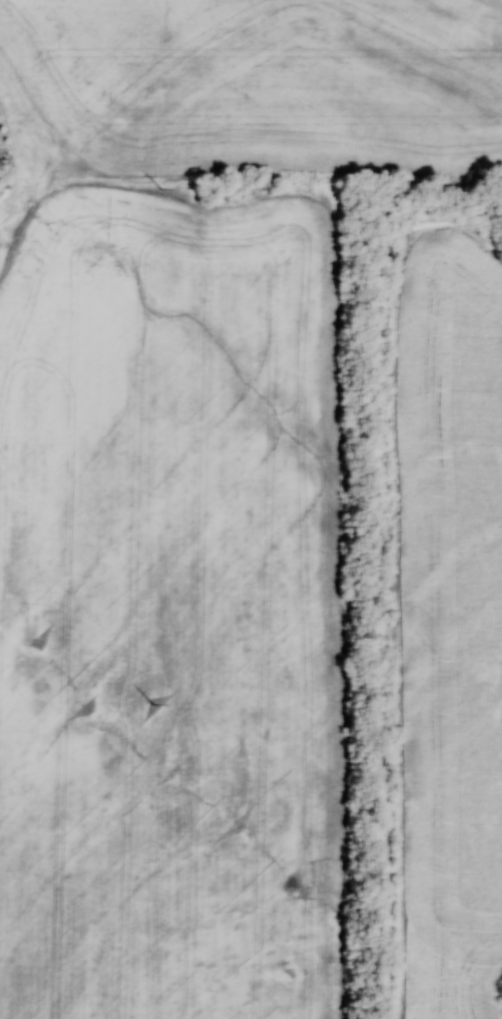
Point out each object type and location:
power tower: (160, 185)
power tower: (152, 707)

